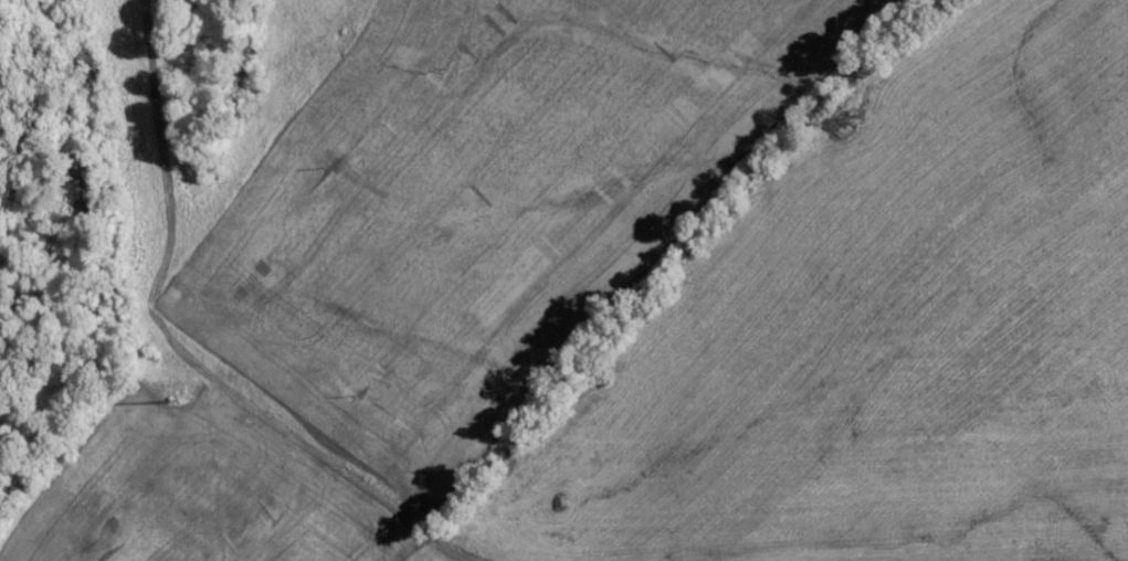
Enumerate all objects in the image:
power tower: (180, 395)

